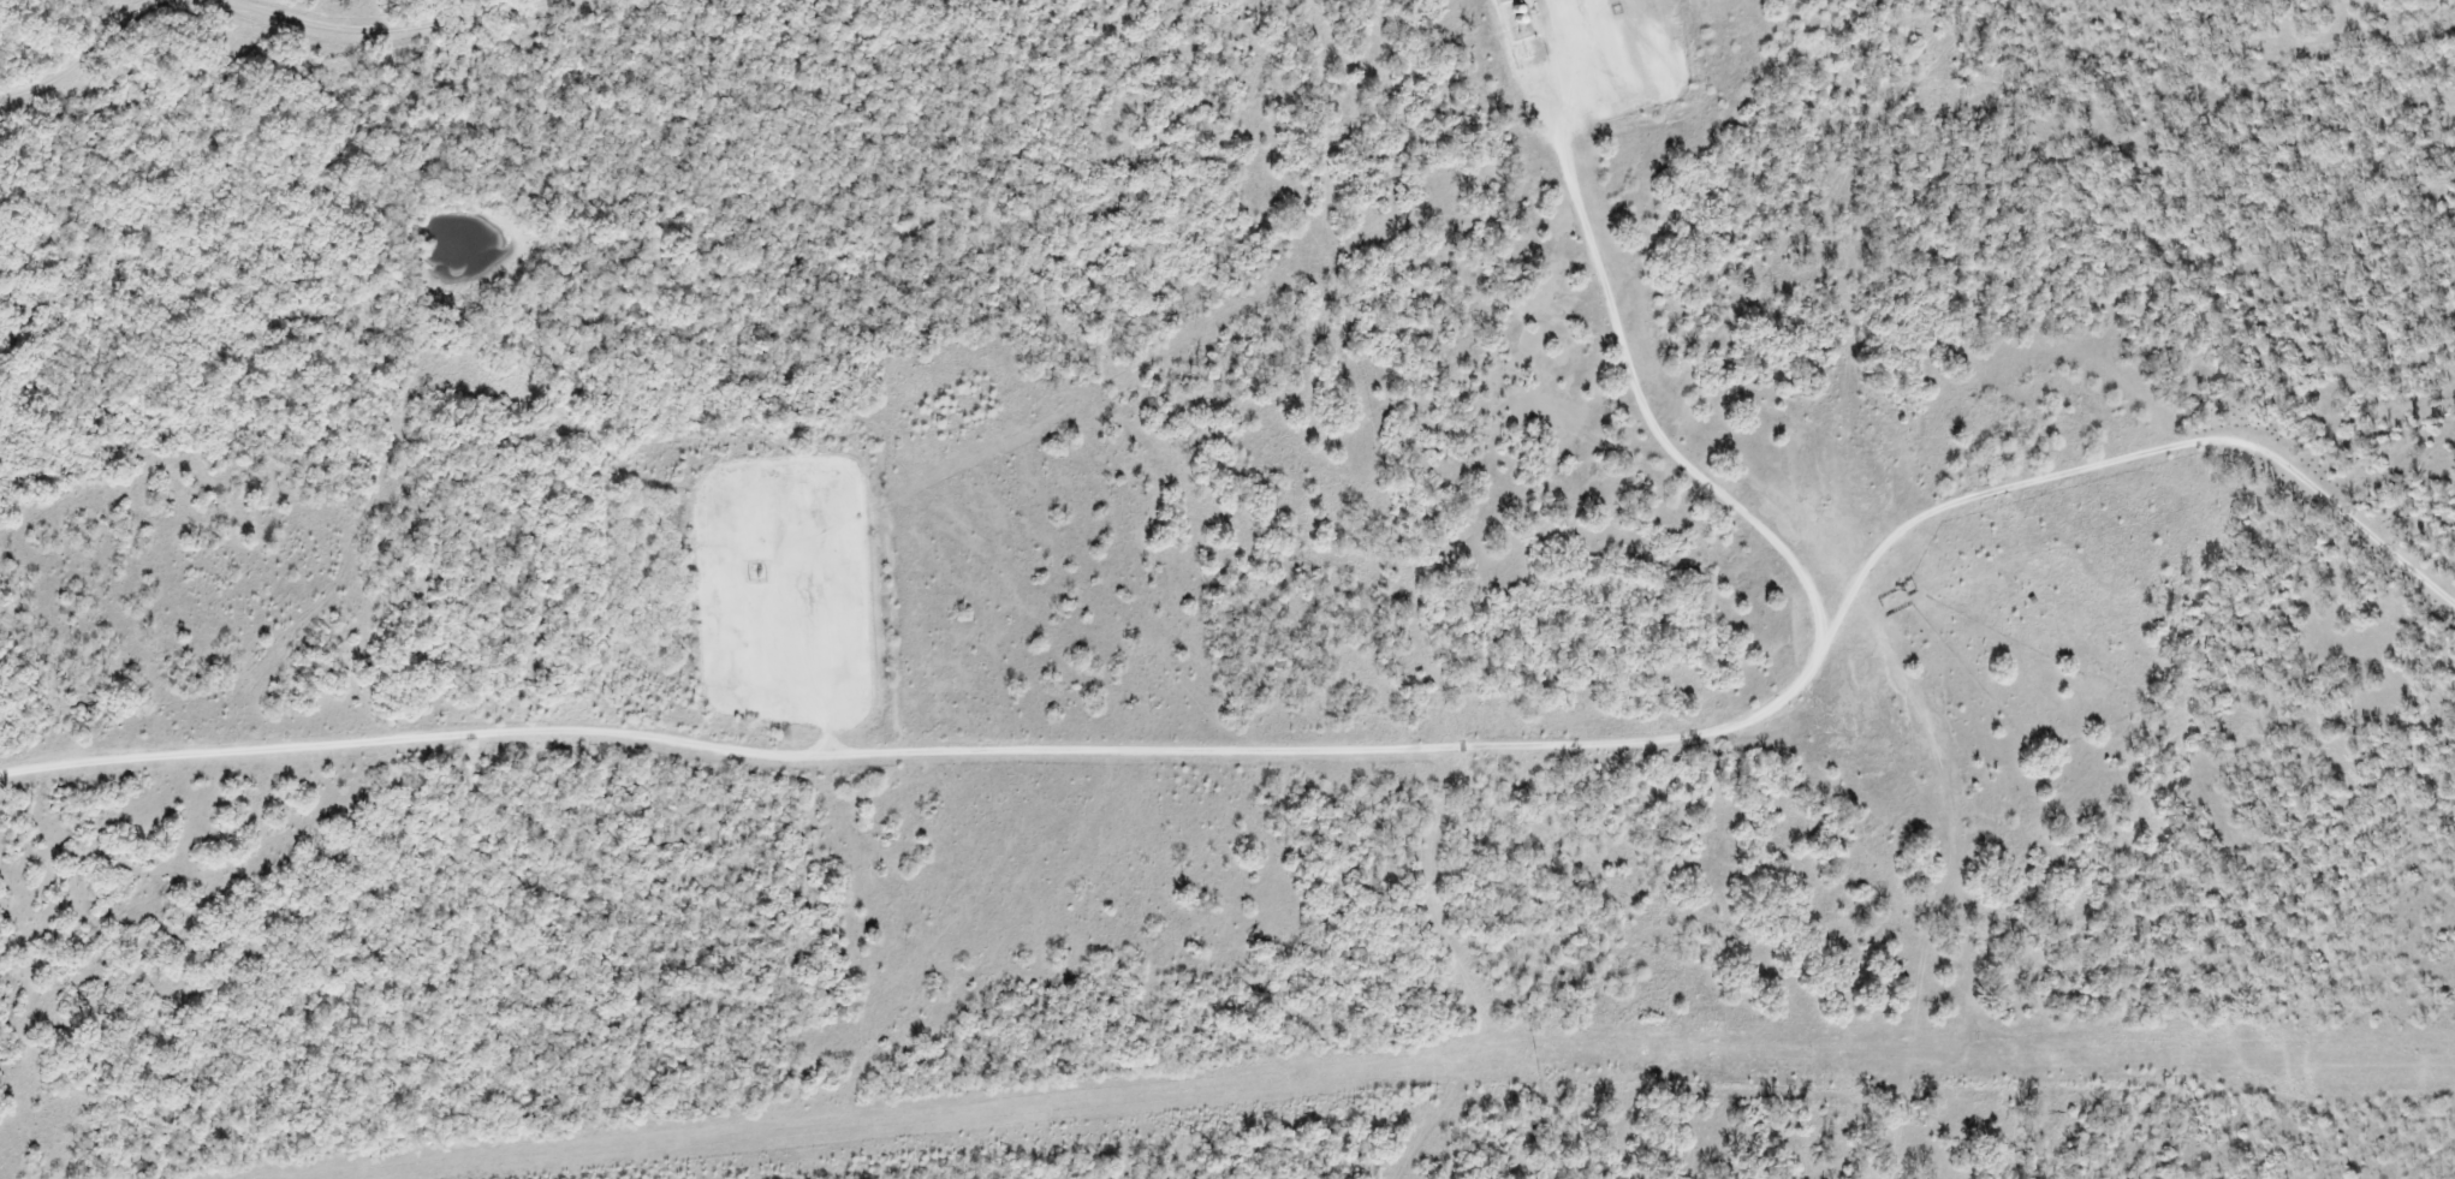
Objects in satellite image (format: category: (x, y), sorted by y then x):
road: (856, 754)

